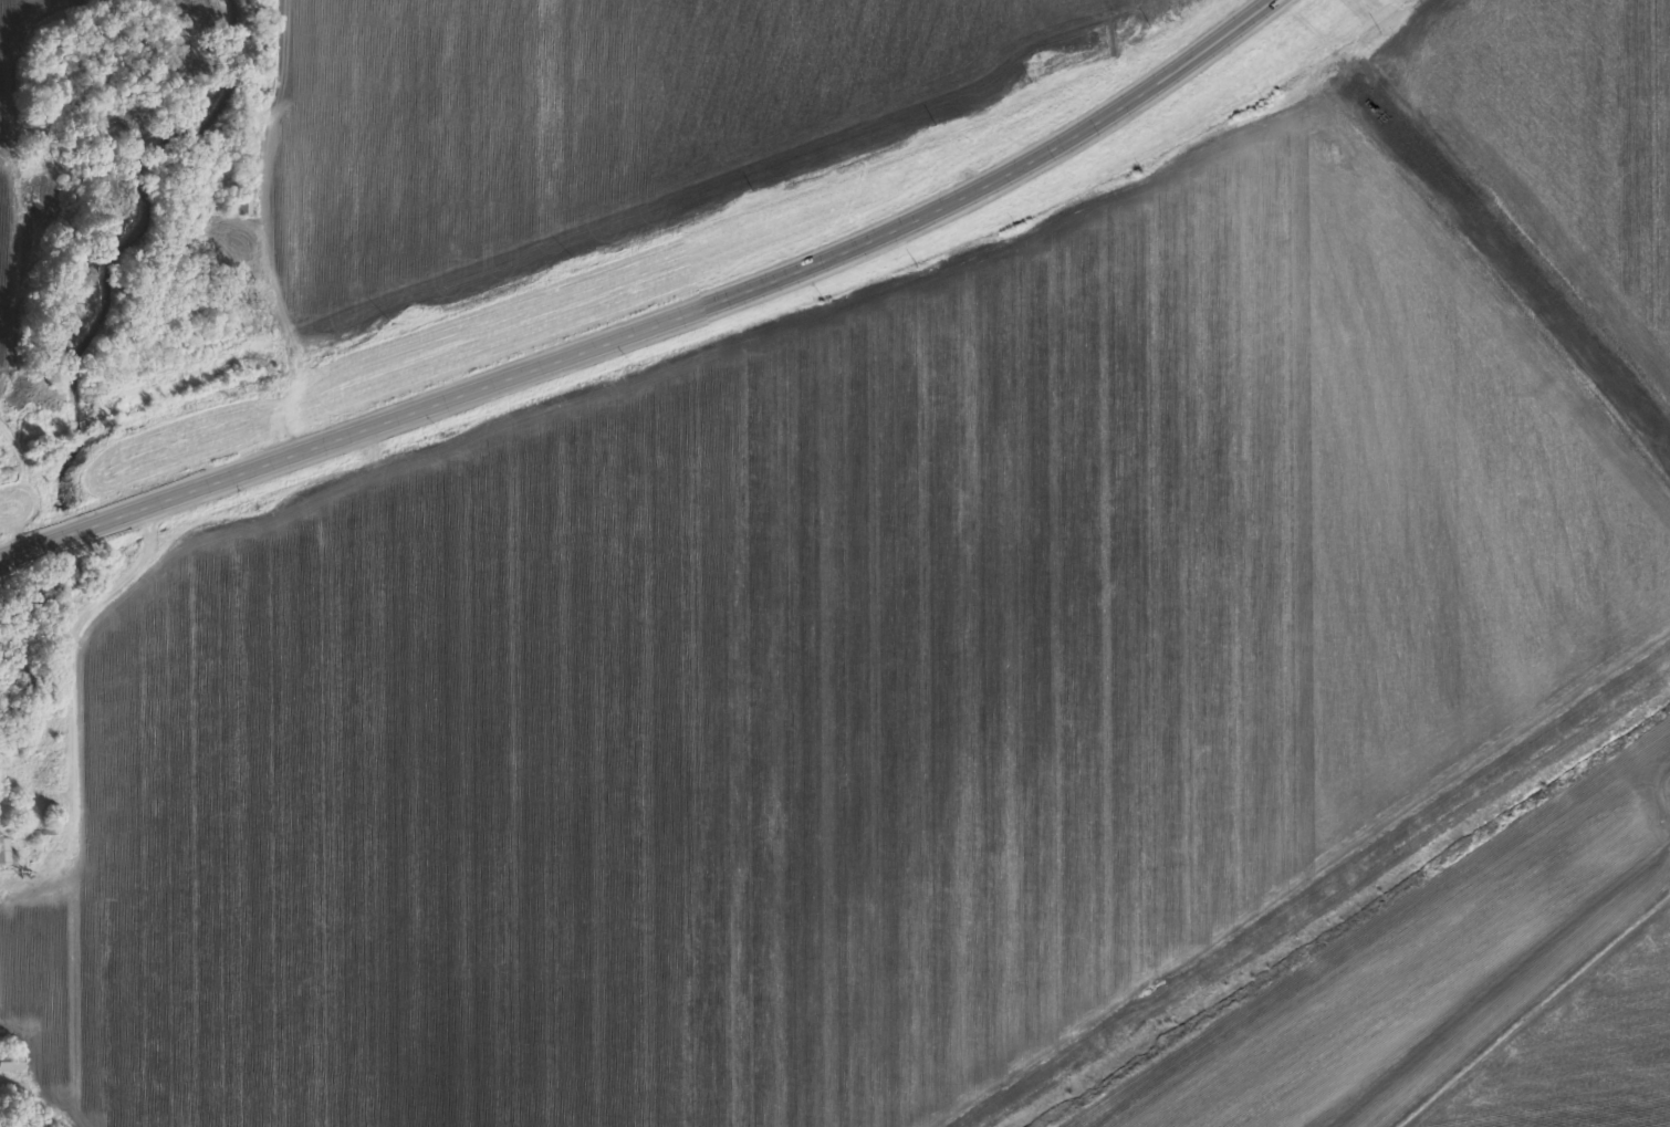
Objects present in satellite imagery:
road: (641, 316)
road: (232, 354)
building: (4, 852)
building: (10, 1065)

